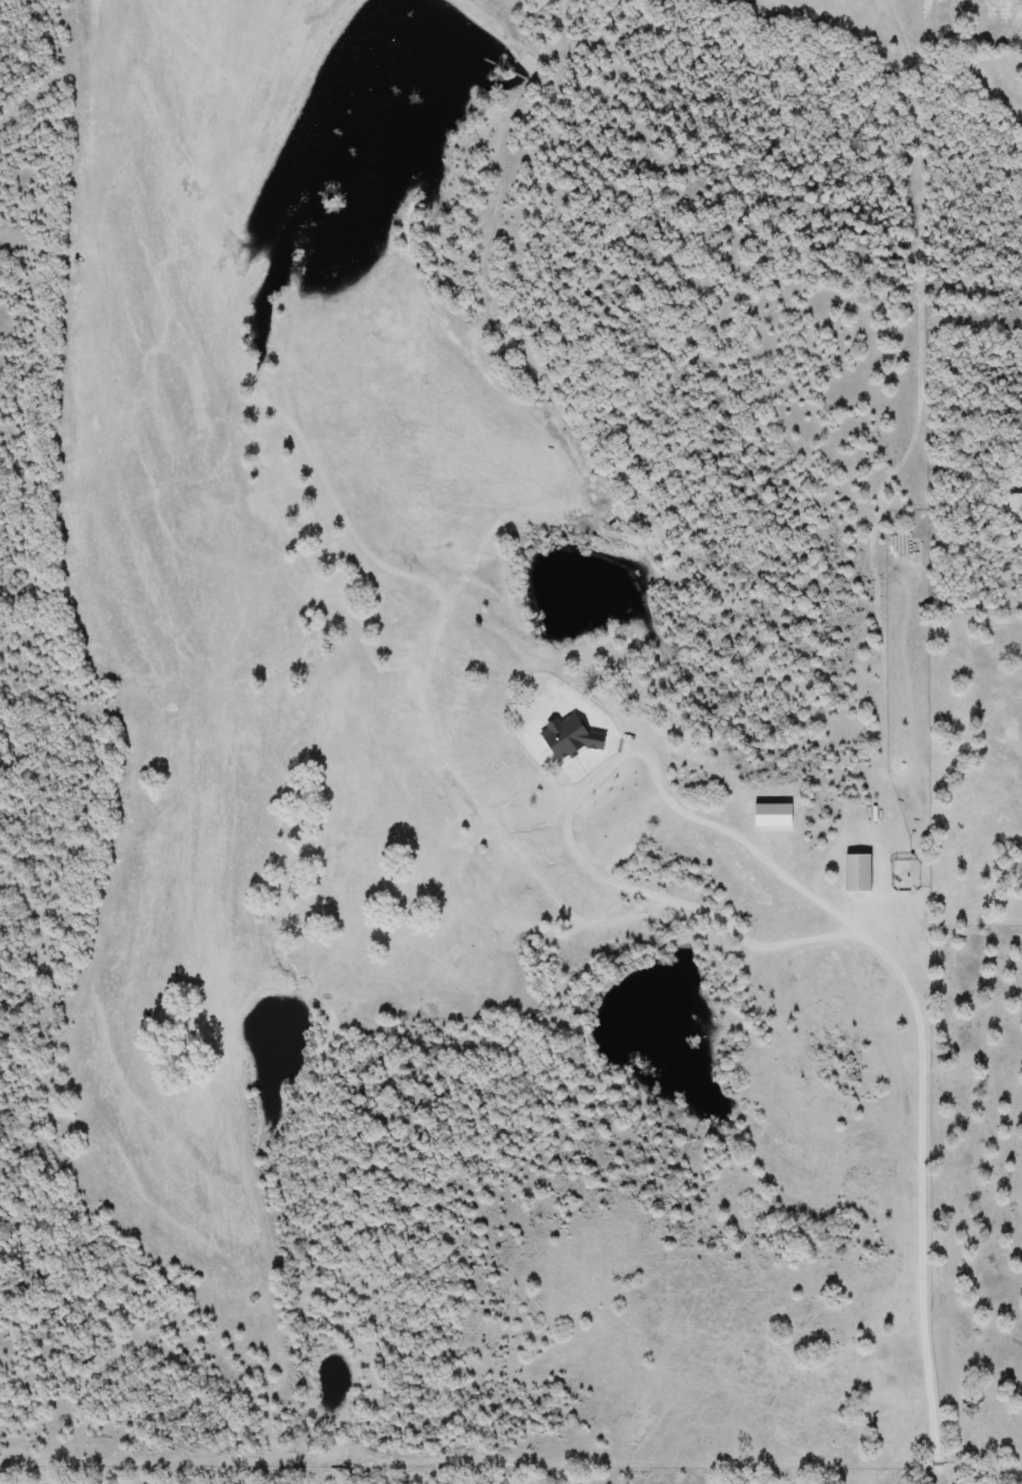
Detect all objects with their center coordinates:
building: (1015, 503)
road: (389, 541)
road: (883, 950)
building: (887, 1437)

